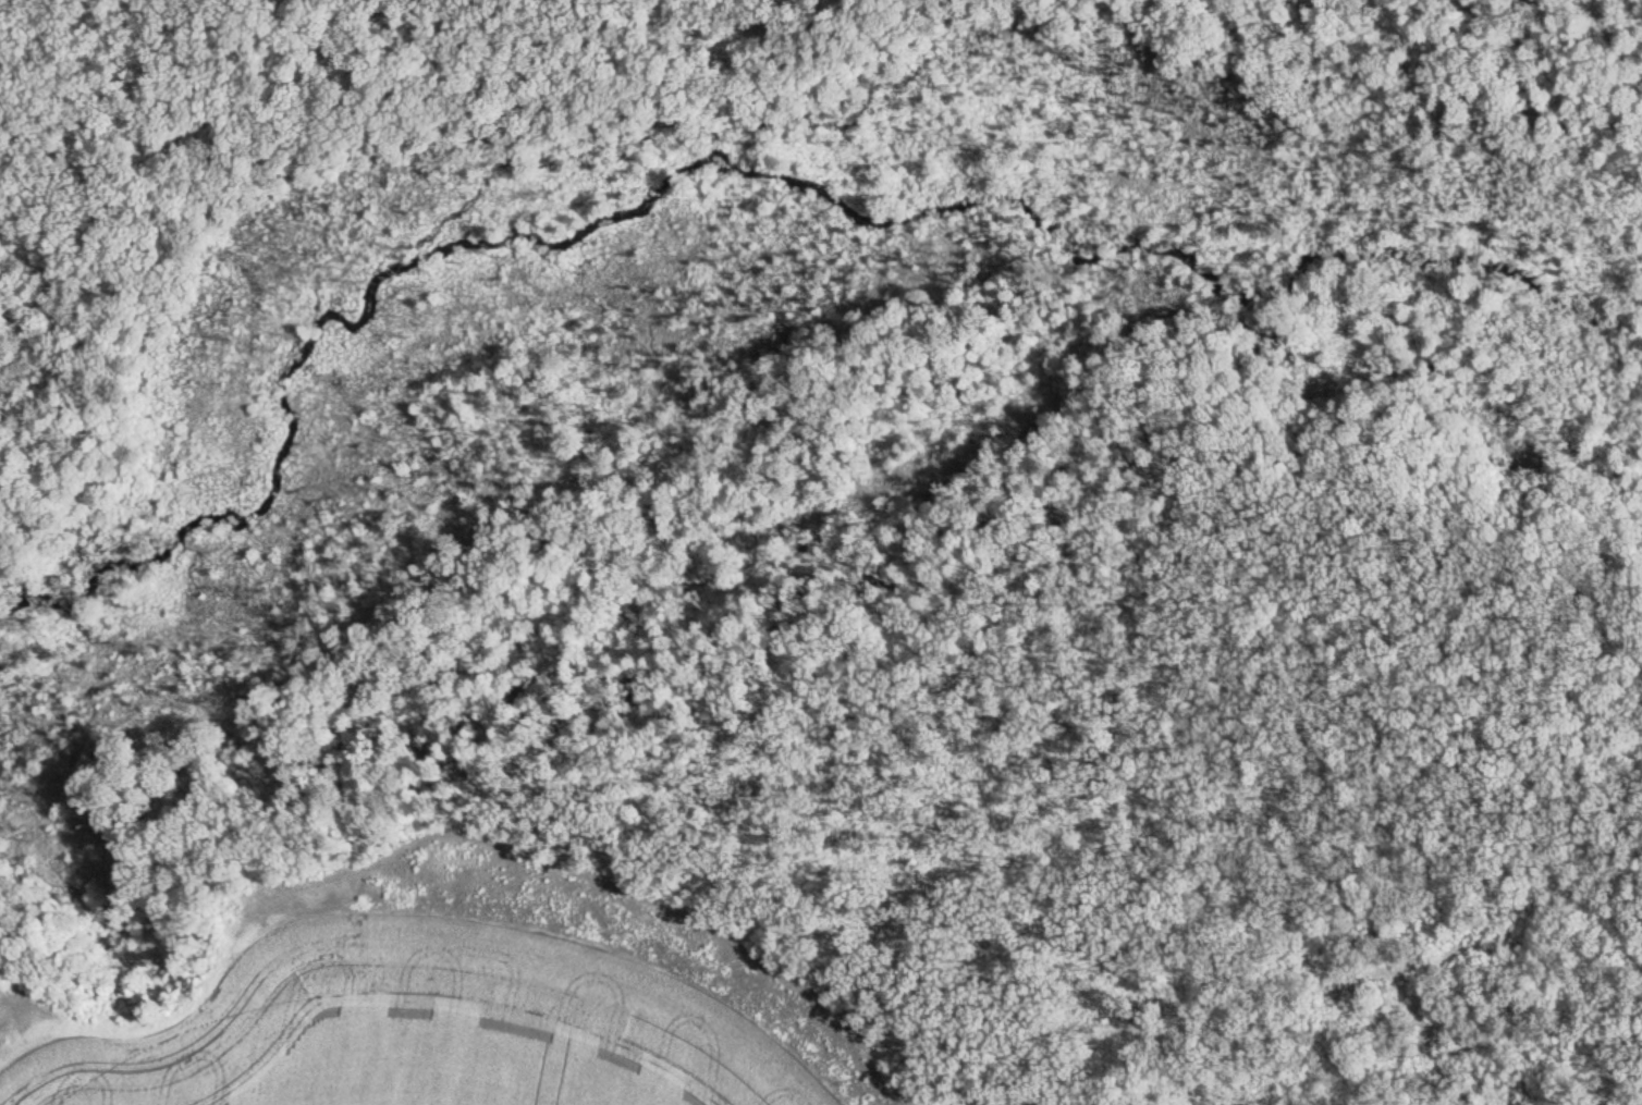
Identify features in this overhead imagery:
road: (927, 3)
wastewater plant: (451, 998)

